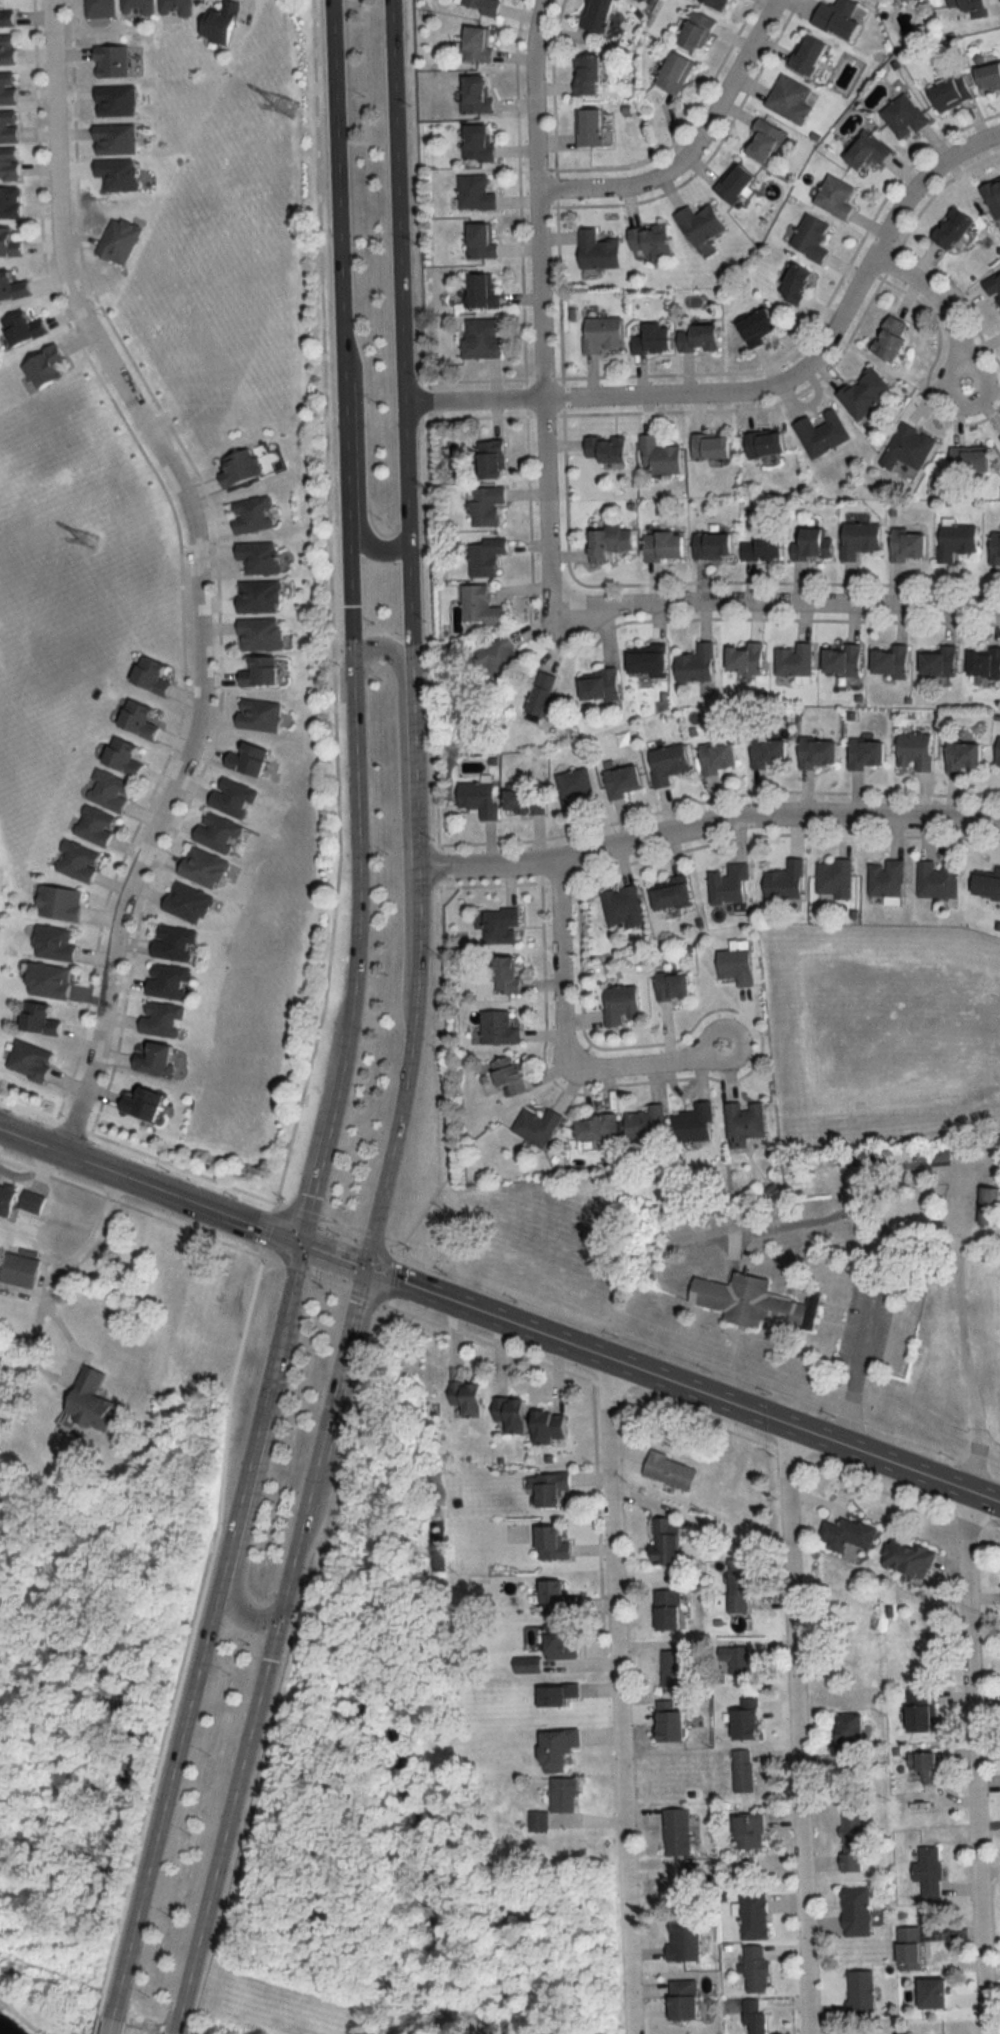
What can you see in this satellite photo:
building: (915, 1)
building: (713, 4)
building: (140, 5)
building: (963, 5)
building: (479, 6)
building: (176, 7)
building: (102, 8)
building: (594, 15)
building: (6, 16)
building: (837, 18)
building: (223, 22)
building: (693, 33)
building: (474, 46)
building: (8, 50)
building: (805, 56)
building: (113, 61)
building: (672, 74)
building: (584, 76)
building: (987, 78)
building: (8, 88)
building: (474, 95)
building: (947, 95)
building: (787, 100)
building: (117, 101)
power tower: (288, 107)
building: (901, 117)
building: (9, 126)
building: (586, 128)
building: (117, 139)
building: (761, 143)
building: (476, 145)
road: (690, 146)
building: (864, 152)
building: (10, 163)
building: (119, 174)
building: (732, 185)
building: (476, 193)
building: (833, 196)
building: (992, 197)
building: (11, 202)
building: (697, 224)
building: (949, 228)
building: (809, 237)
building: (121, 240)
building: (484, 240)
building: (648, 240)
building: (10, 242)
building: (595, 250)
road: (400, 270)
building: (792, 283)
building: (12, 287)
building: (993, 289)
building: (484, 291)
road: (537, 298)
road: (939, 305)
road: (340, 326)
building: (754, 326)
building: (26, 328)
building: (599, 333)
building: (694, 337)
building: (888, 337)
building: (483, 338)
building: (650, 338)
building: (47, 367)
road: (764, 387)
building: (862, 391)
building: (820, 432)
building: (761, 443)
building: (707, 446)
building: (603, 447)
building: (906, 447)
building: (657, 455)
road: (359, 458)
building: (488, 458)
building: (967, 459)
building: (241, 468)
building: (484, 506)
building: (254, 515)
building: (856, 538)
building: (953, 540)
power tower: (90, 542)
building: (605, 542)
building: (808, 542)
building: (661, 545)
building: (709, 545)
building: (760, 545)
building: (905, 545)
building: (993, 548)
building: (483, 556)
building: (261, 557)
road: (196, 570)
road: (430, 586)
building: (261, 596)
road: (778, 604)
building: (477, 606)
building: (262, 633)
building: (741, 657)
building: (791, 659)
building: (840, 660)
building: (645, 661)
building: (888, 661)
building: (936, 661)
building: (693, 663)
building: (982, 663)
building: (263, 672)
building: (154, 675)
building: (597, 685)
building: (543, 697)
road: (409, 700)
building: (261, 715)
building: (141, 719)
road: (400, 734)
building: (912, 751)
building: (997, 751)
building: (766, 752)
building: (815, 752)
building: (864, 753)
building: (961, 755)
building: (126, 757)
building: (715, 757)
building: (251, 760)
building: (665, 763)
building: (620, 780)
building: (573, 788)
building: (111, 791)
building: (234, 797)
building: (477, 798)
building: (520, 802)
road: (706, 823)
building: (96, 825)
building: (219, 832)
road: (354, 843)
building: (79, 860)
road: (417, 862)
building: (205, 867)
building: (832, 878)
building: (884, 878)
building: (935, 880)
building: (783, 881)
building: (727, 883)
building: (986, 884)
building: (669, 895)
building: (61, 902)
building: (190, 902)
building: (621, 906)
building: (497, 925)
building: (55, 943)
building: (176, 943)
building: (733, 966)
building: (504, 974)
building: (51, 980)
building: (168, 980)
building: (670, 986)
building: (618, 1005)
building: (41, 1019)
building: (163, 1019)
building: (496, 1028)
road: (559, 1041)
building: (158, 1059)
building: (33, 1060)
road: (407, 1066)
building: (505, 1077)
building: (146, 1104)
building: (643, 1123)
building: (691, 1123)
building: (741, 1123)
building: (534, 1127)
building: (594, 1127)
road: (323, 1136)
road: (33, 1139)
building: (923, 1153)
road: (200, 1174)
road: (182, 1196)
building: (8, 1198)
building: (34, 1200)
road: (129, 1204)
building: (985, 1206)
road: (420, 1215)
traffic signals: (300, 1239)
road: (883, 1242)
road: (332, 1251)
road: (67, 1261)
road: (294, 1262)
traffic signals: (364, 1263)
building: (24, 1269)
road: (395, 1277)
road: (392, 1300)
building: (746, 1301)
road: (484, 1311)
road: (491, 1341)
road: (964, 1349)
park: (957, 1356)
road: (340, 1361)
building: (471, 1396)
building: (94, 1399)
road: (652, 1400)
building: (515, 1412)
building: (553, 1426)
road: (802, 1433)
road: (260, 1465)
building: (672, 1470)
building: (551, 1487)
building: (849, 1534)
road: (295, 1536)
building: (669, 1541)
building: (555, 1543)
building: (909, 1556)
building: (740, 1584)
building: (559, 1598)
building: (670, 1608)
traffic signals: (276, 1614)
building: (562, 1641)
road: (197, 1659)
building: (740, 1659)
building: (530, 1664)
building: (674, 1667)
park: (795, 1675)
building: (560, 1694)
road: (617, 1697)
building: (919, 1711)
road: (794, 1730)
building: (854, 1733)
building: (561, 1749)
road: (973, 1763)
building: (922, 1767)
building: (744, 1770)
building: (567, 1795)
road: (224, 1824)
building: (678, 1826)
building: (752, 1831)
building: (854, 1840)
building: (931, 1871)
building: (857, 1911)
building: (756, 1915)
building: (685, 1941)
building: (910, 1944)
building: (758, 1968)
building: (862, 1993)
building: (937, 1993)
building: (686, 1999)
building: (755, 2017)

